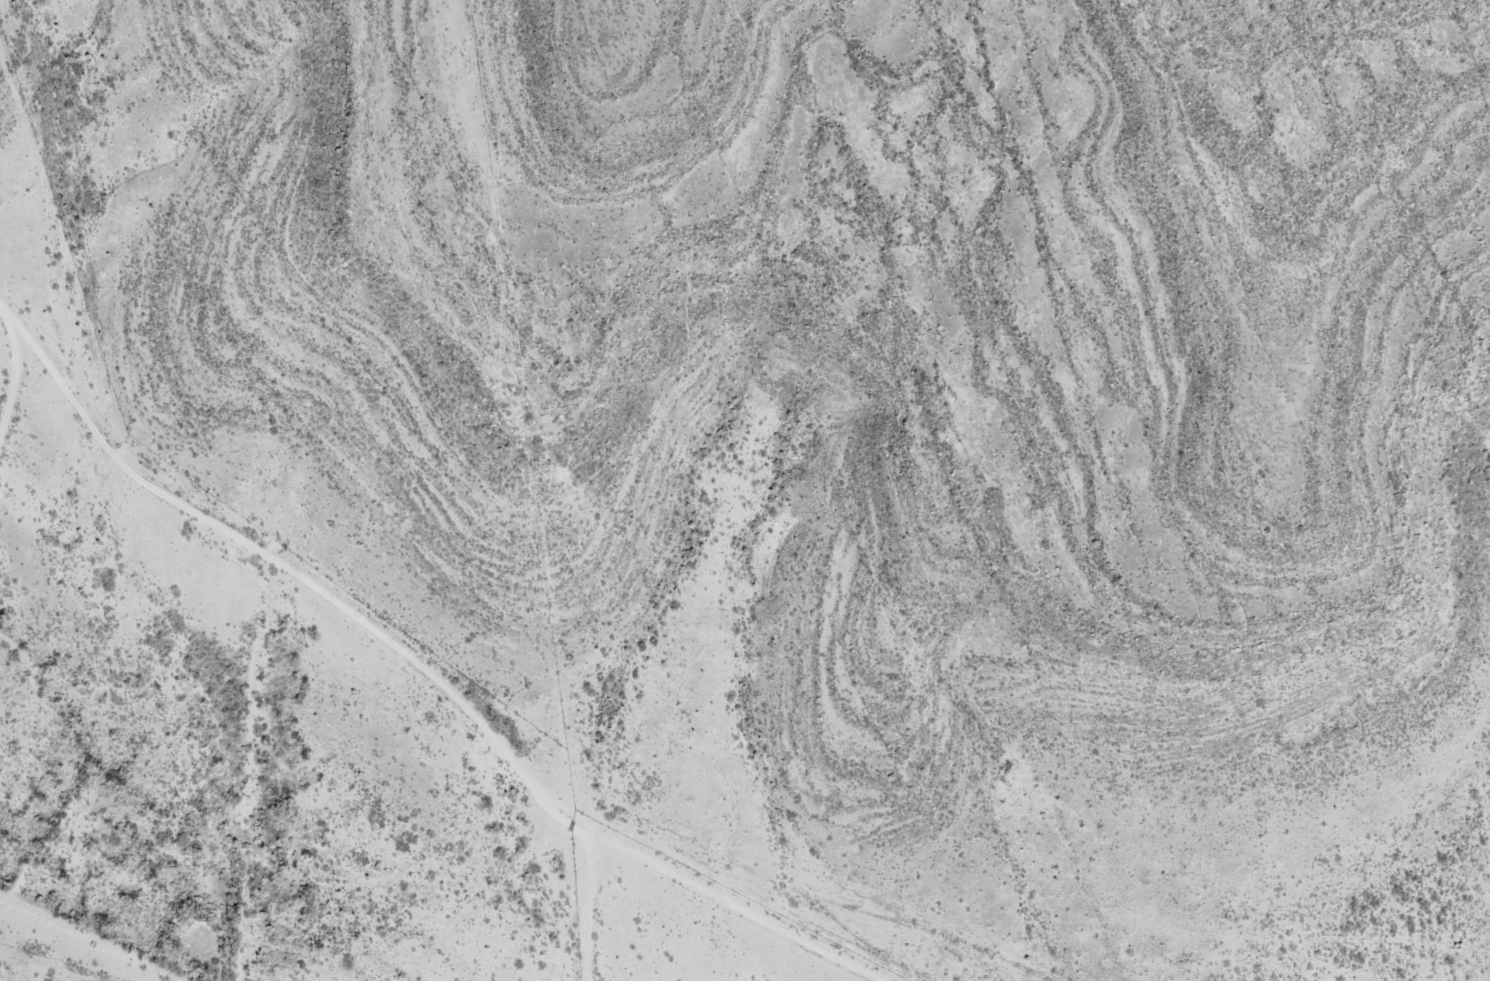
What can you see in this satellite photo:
road: (14, 367)
road: (509, 708)
road: (960, 972)

